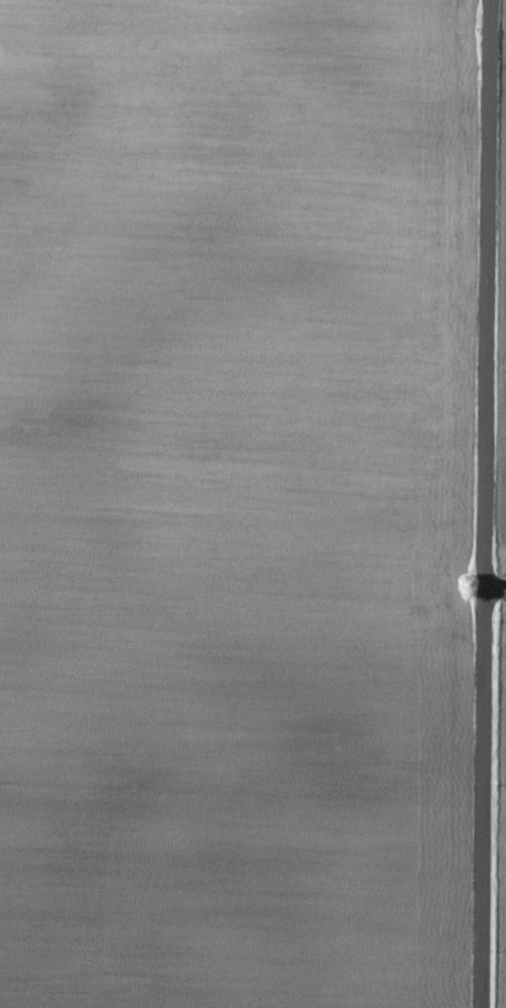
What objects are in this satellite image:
road: (489, 292)
road: (497, 584)
road: (486, 796)

